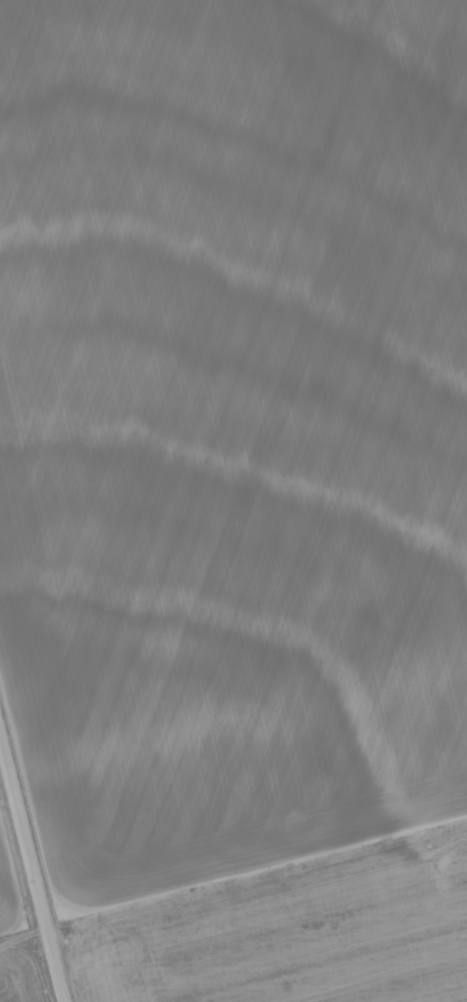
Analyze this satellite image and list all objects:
road: (39, 880)

